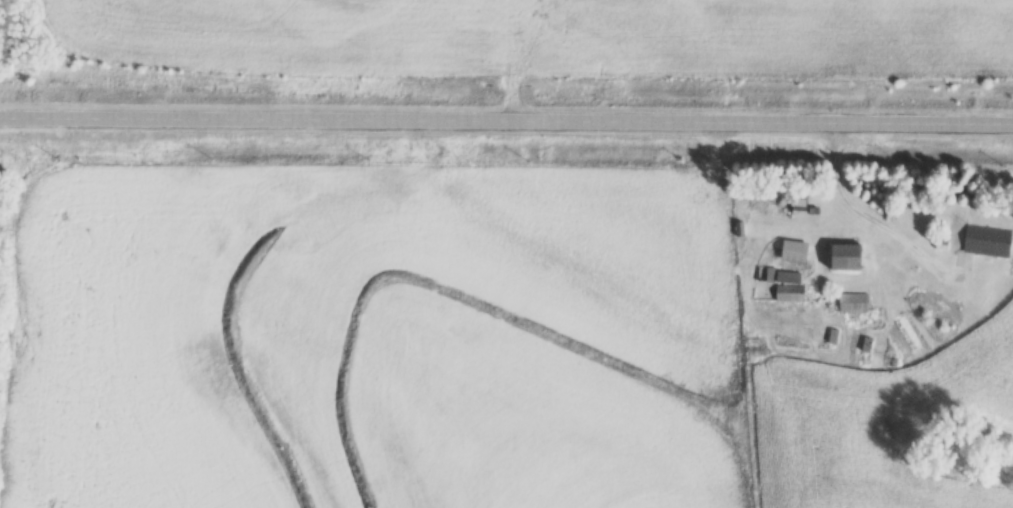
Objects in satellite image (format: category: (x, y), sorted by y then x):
road: (506, 119)
building: (798, 201)
road: (855, 212)
building: (986, 237)
building: (793, 247)
building: (846, 254)
building: (777, 272)
building: (788, 290)
building: (852, 299)

